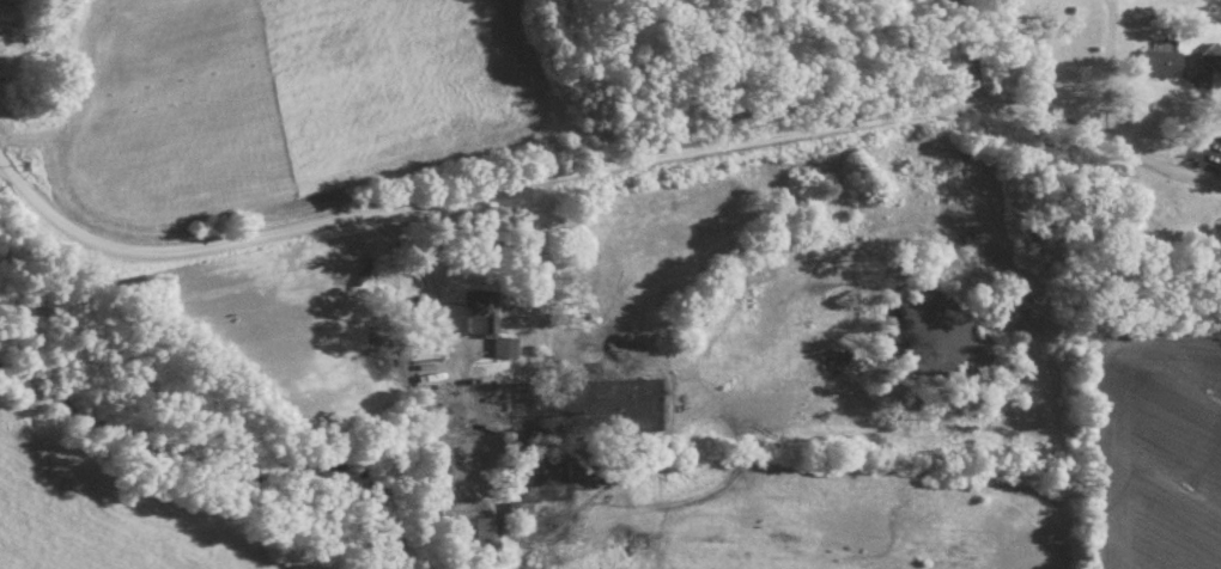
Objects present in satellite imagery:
building: (1211, 56)
building: (1158, 62)
road: (1104, 69)
road: (601, 170)
building: (479, 311)
building: (503, 347)
building: (455, 472)
building: (485, 533)

